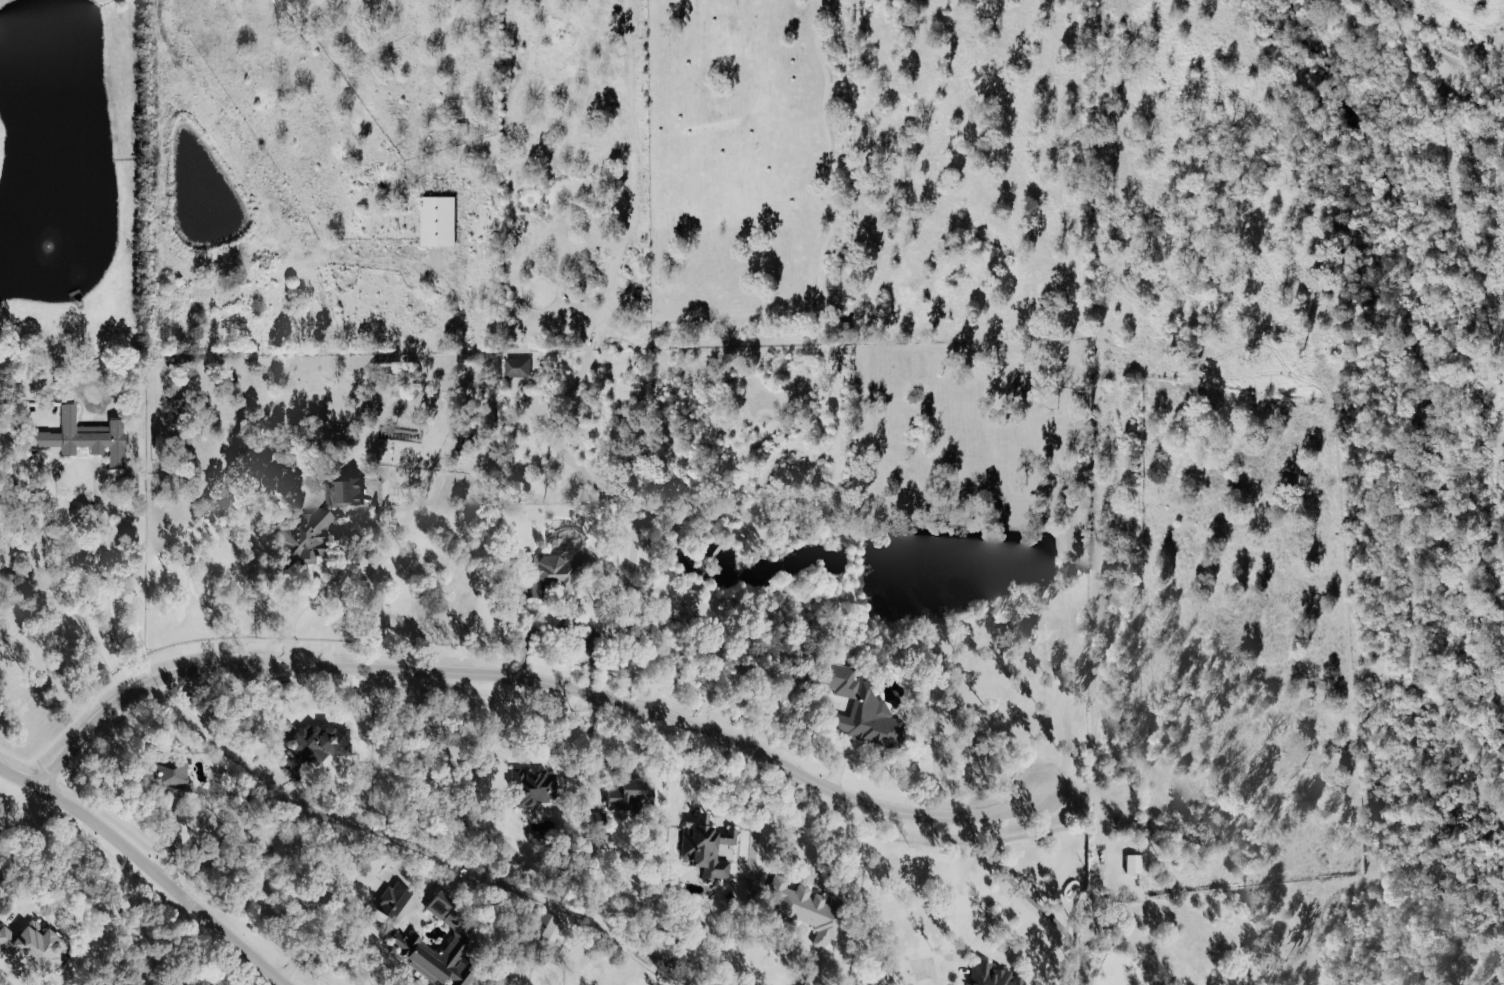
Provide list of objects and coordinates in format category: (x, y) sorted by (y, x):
building: (435, 218)
building: (835, 324)
building: (515, 364)
building: (80, 435)
road: (427, 493)
building: (311, 526)
road: (633, 535)
road: (102, 567)
building: (552, 574)
road: (527, 627)
road: (577, 637)
road: (527, 668)
building: (861, 710)
road: (500, 723)
road: (588, 741)
building: (309, 747)
road: (19, 778)
building: (172, 779)
building: (532, 788)
building: (627, 796)
road: (767, 814)
building: (597, 817)
building: (701, 819)
road: (35, 846)
building: (706, 851)
building: (1132, 865)
road: (60, 872)
road: (985, 881)
road: (171, 885)
building: (392, 901)
building: (404, 909)
building: (809, 910)
building: (544, 930)
building: (406, 943)
building: (35, 946)
building: (991, 976)

